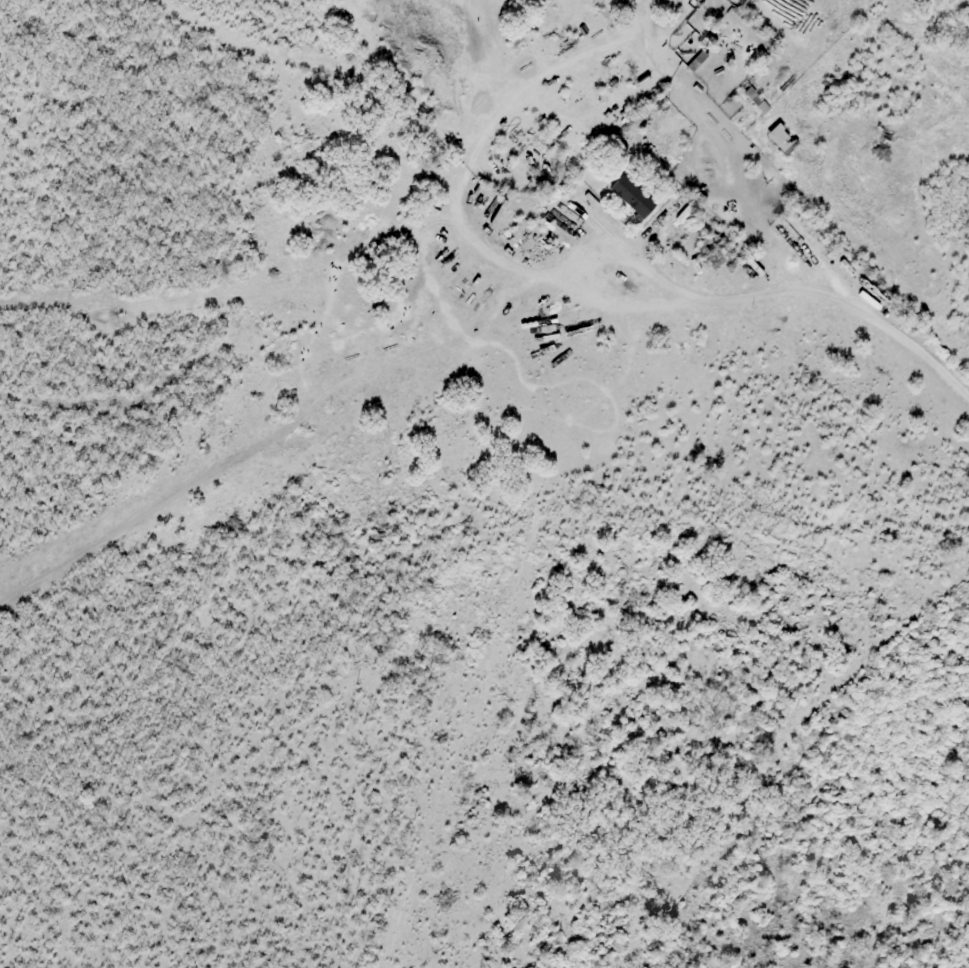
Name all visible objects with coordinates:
building: (778, 139)
building: (629, 196)

